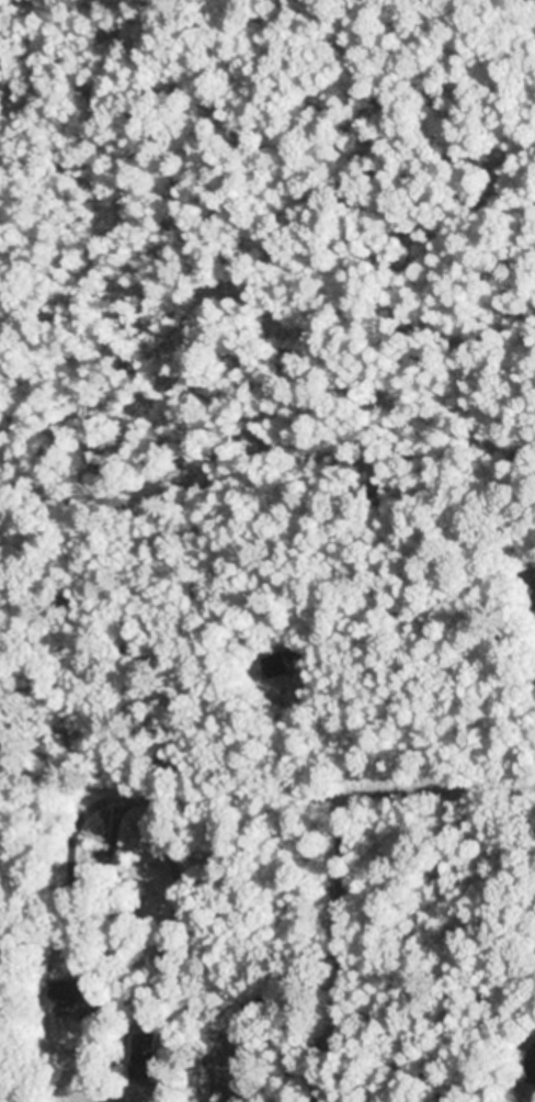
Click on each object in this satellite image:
building: (534, 582)
building: (276, 665)
road: (317, 790)
building: (71, 994)

